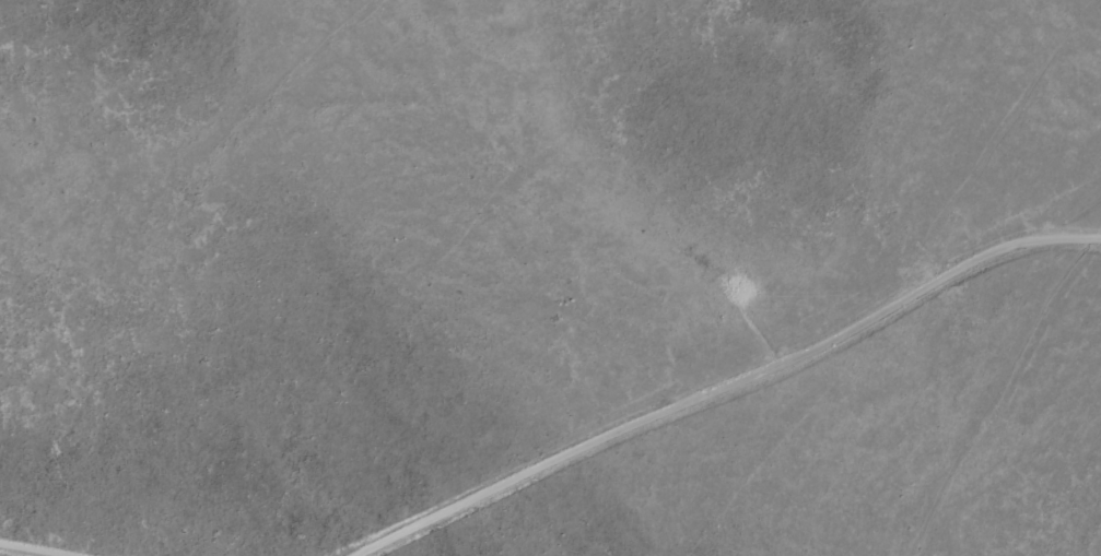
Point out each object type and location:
road: (668, 372)
road: (72, 542)

